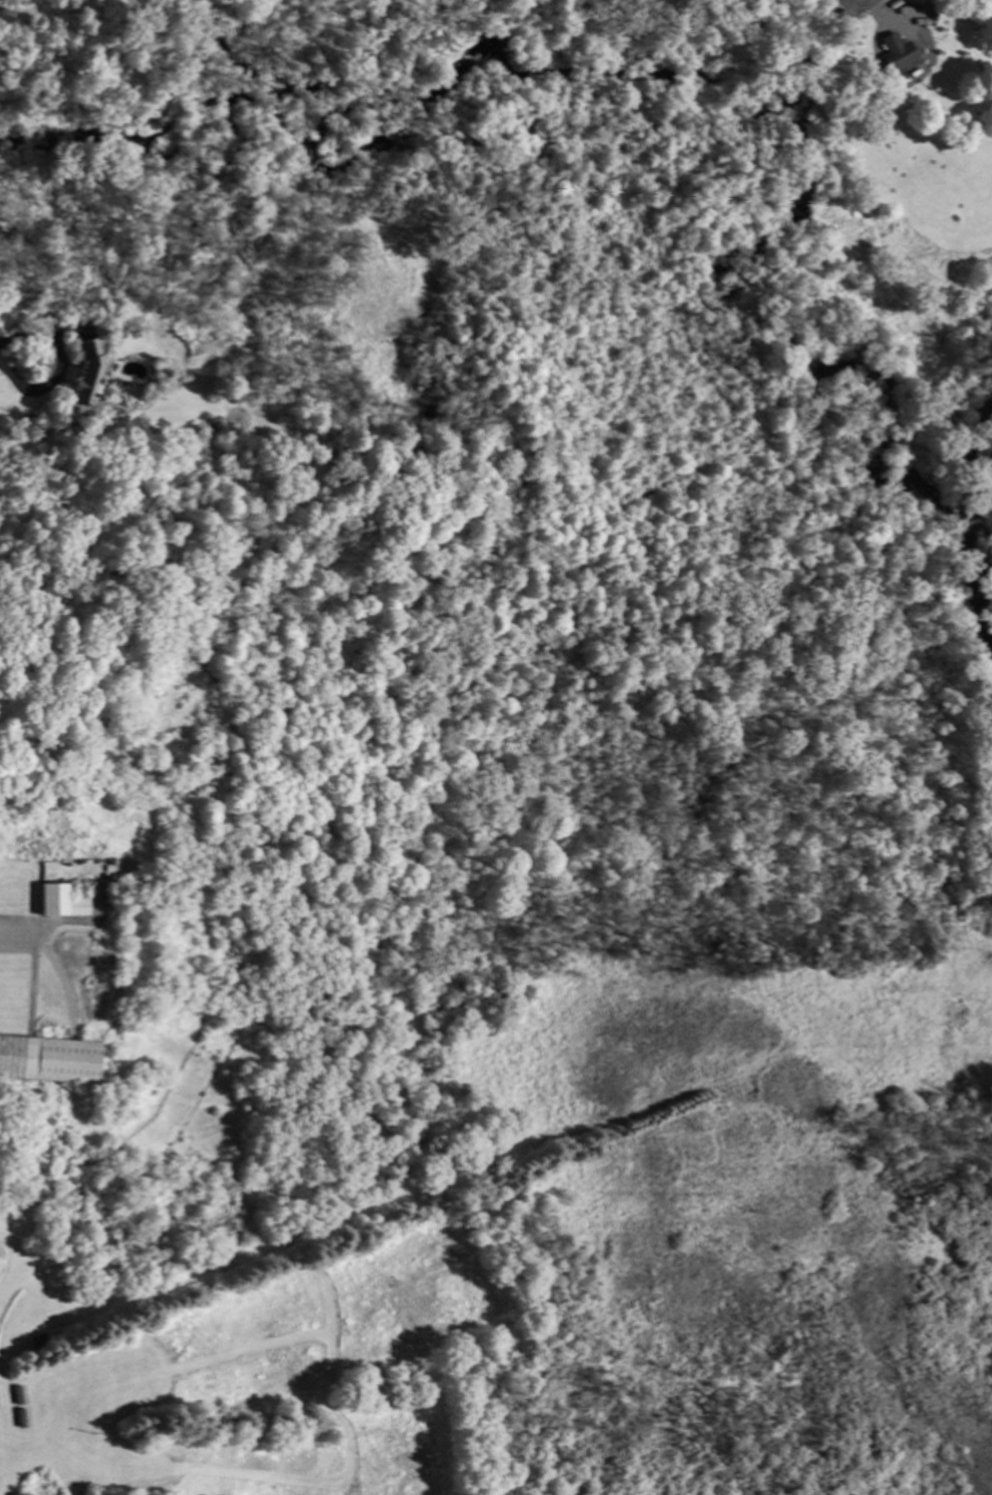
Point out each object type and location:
parking lot: (846, 9)
road: (847, 10)
building: (893, 52)
building: (951, 171)
road: (58, 367)
building: (86, 373)
river: (982, 521)
road: (215, 533)
park: (507, 758)
road: (362, 838)
building: (60, 901)
road: (13, 936)
building: (48, 1059)
building: (36, 1341)
building: (18, 1394)
building: (21, 1417)

